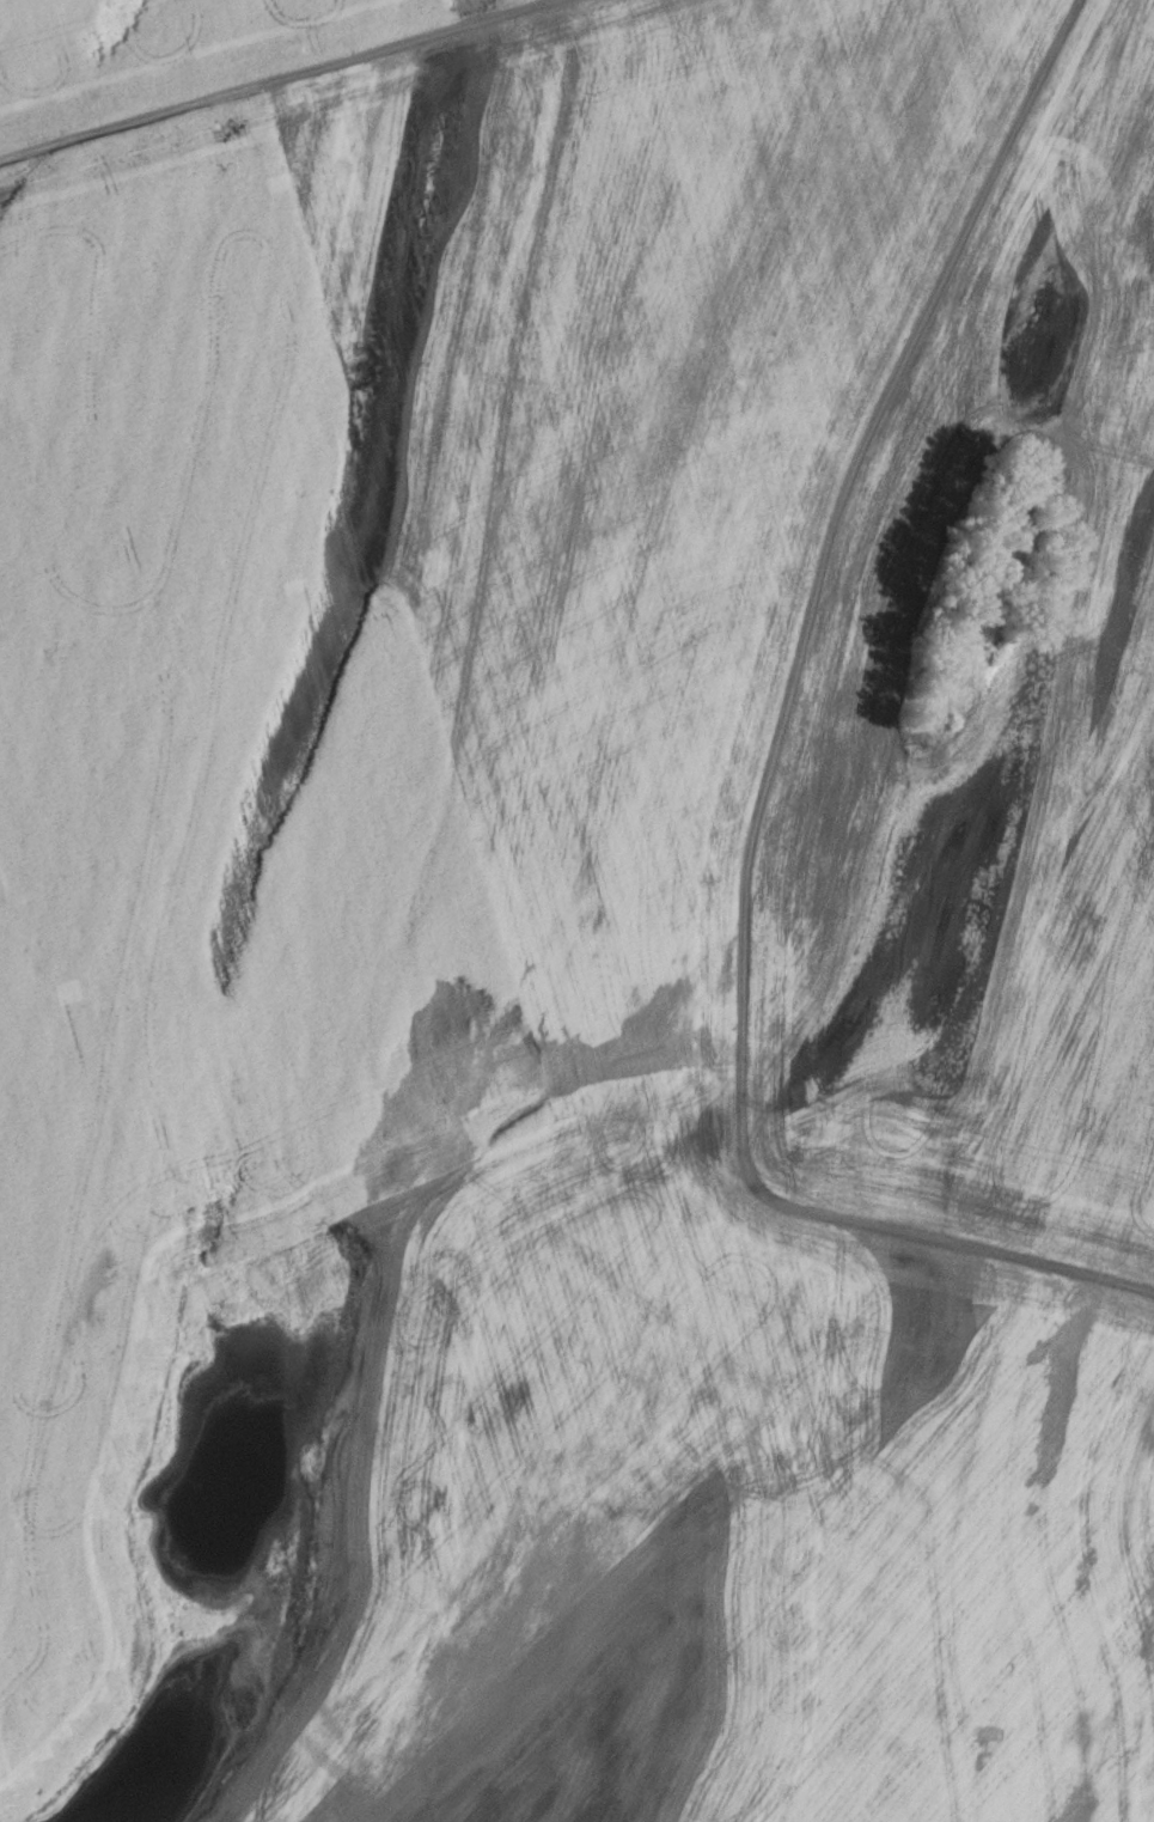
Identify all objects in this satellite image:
road: (271, 79)
road: (764, 773)
crop: (572, 914)

